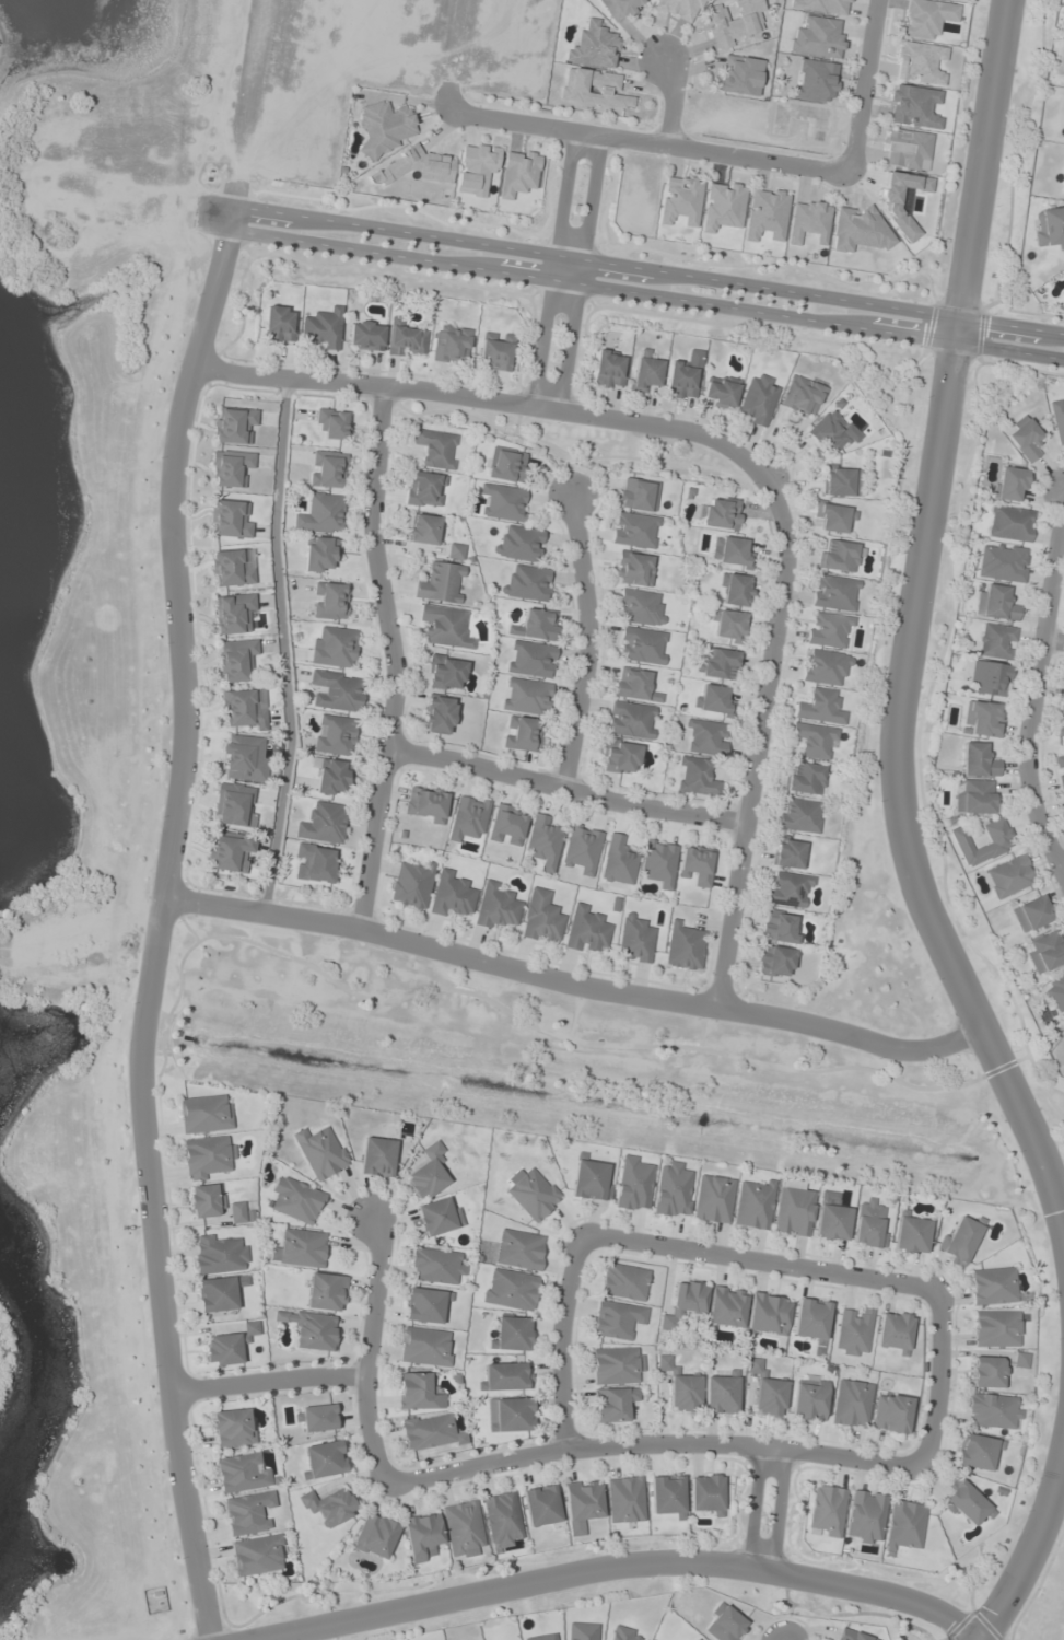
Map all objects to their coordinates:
building: (620, 9)
building: (717, 18)
building: (925, 18)
building: (595, 47)
building: (920, 62)
building: (739, 75)
building: (816, 80)
road: (861, 86)
building: (594, 89)
road: (671, 100)
building: (914, 106)
building: (385, 127)
road: (648, 141)
building: (905, 148)
building: (476, 171)
building: (518, 174)
building: (1063, 186)
building: (680, 200)
building: (723, 206)
road: (212, 214)
building: (767, 214)
building: (809, 222)
building: (1049, 228)
building: (858, 229)
road: (569, 257)
road: (646, 270)
road: (645, 295)
building: (278, 324)
building: (324, 328)
road: (556, 333)
building: (366, 336)
building: (407, 341)
building: (451, 345)
building: (495, 351)
building: (608, 370)
building: (644, 374)
building: (681, 380)
building: (718, 393)
road: (471, 395)
building: (802, 396)
building: (757, 399)
building: (1057, 419)
building: (332, 423)
building: (234, 426)
building: (828, 431)
building: (1025, 440)
building: (436, 449)
building: (506, 465)
building: (230, 467)
building: (327, 469)
building: (839, 482)
building: (1009, 484)
building: (424, 489)
building: (636, 495)
building: (504, 502)
building: (720, 513)
building: (320, 514)
building: (833, 516)
building: (230, 519)
building: (1010, 523)
building: (423, 530)
building: (634, 531)
building: (518, 545)
building: (455, 551)
building: (730, 551)
building: (320, 554)
building: (839, 556)
building: (1002, 562)
building: (232, 568)
building: (633, 569)
building: (441, 583)
building: (527, 583)
building: (735, 590)
building: (833, 593)
building: (330, 601)
building: (996, 603)
building: (639, 607)
building: (232, 613)
building: (535, 626)
building: (727, 626)
building: (445, 627)
road: (910, 628)
building: (828, 630)
road: (1052, 639)
building: (996, 641)
road: (587, 643)
building: (642, 645)
road: (281, 647)
building: (335, 649)
building: (236, 660)
road: (391, 660)
building: (530, 660)
building: (720, 664)
building: (823, 666)
building: (445, 673)
building: (989, 678)
road: (1033, 684)
building: (634, 685)
building: (337, 690)
building: (525, 696)
building: (1063, 697)
building: (713, 699)
building: (244, 707)
building: (820, 707)
building: (439, 714)
building: (982, 719)
building: (631, 720)
building: (1061, 723)
road: (758, 728)
building: (522, 734)
building: (334, 735)
building: (706, 737)
building: (815, 741)
building: (619, 757)
building: (242, 758)
building: (978, 760)
building: (1060, 769)
building: (330, 776)
building: (695, 777)
building: (805, 778)
road: (564, 788)
building: (973, 796)
building: (234, 804)
building: (424, 805)
building: (802, 816)
building: (468, 817)
building: (323, 823)
building: (506, 825)
building: (543, 842)
building: (998, 845)
building: (582, 848)
building: (230, 852)
building: (788, 853)
building: (618, 862)
building: (659, 862)
building: (315, 863)
building: (695, 865)
road: (1062, 866)
building: (1009, 876)
building: (431, 889)
building: (788, 889)
building: (495, 906)
road: (160, 907)
building: (1031, 914)
building: (541, 918)
building: (780, 928)
building: (586, 930)
building: (634, 939)
building: (683, 946)
building: (1047, 952)
building: (774, 962)
road: (571, 985)
building: (1055, 992)
building: (204, 1114)
building: (320, 1152)
building: (209, 1156)
building: (377, 1156)
building: (428, 1173)
building: (591, 1180)
building: (633, 1184)
building: (673, 1190)
building: (531, 1194)
building: (713, 1199)
building: (296, 1200)
building: (206, 1201)
building: (753, 1203)
building: (793, 1209)
building: (241, 1213)
building: (439, 1217)
building: (832, 1222)
building: (868, 1224)
building: (911, 1234)
building: (960, 1240)
building: (301, 1248)
building: (519, 1249)
building: (220, 1255)
road: (760, 1260)
building: (435, 1266)
building: (623, 1281)
building: (993, 1286)
building: (510, 1289)
building: (326, 1292)
building: (217, 1294)
building: (685, 1303)
building: (424, 1305)
building: (726, 1307)
building: (768, 1314)
building: (616, 1319)
building: (811, 1319)
building: (311, 1328)
building: (996, 1328)
building: (853, 1331)
building: (893, 1331)
building: (512, 1333)
road: (561, 1342)
building: (229, 1346)
building: (425, 1347)
road: (366, 1351)
building: (663, 1362)
building: (618, 1365)
building: (987, 1372)
building: (506, 1376)
road: (267, 1380)
building: (891, 1382)
road: (937, 1382)
building: (417, 1392)
building: (767, 1392)
building: (685, 1393)
building: (722, 1394)
building: (810, 1399)
building: (612, 1404)
building: (852, 1404)
building: (991, 1411)
building: (891, 1414)
building: (510, 1415)
building: (316, 1418)
building: (232, 1428)
building: (430, 1432)
road: (653, 1444)
building: (975, 1452)
building: (324, 1459)
building: (242, 1473)
building: (706, 1492)
building: (667, 1496)
building: (625, 1500)
building: (582, 1504)
building: (966, 1504)
building: (329, 1505)
building: (541, 1505)
road: (755, 1508)
road: (779, 1511)
building: (827, 1511)
building: (248, 1513)
building: (865, 1517)
building: (502, 1520)
building: (905, 1526)
building: (463, 1527)
building: (421, 1535)
building: (375, 1536)
building: (258, 1555)
road: (1027, 1558)
road: (619, 1571)
building: (724, 1624)
building: (582, 1631)
building: (624, 1633)
building: (853, 1636)
building: (551, 1639)
building: (697, 1639)

